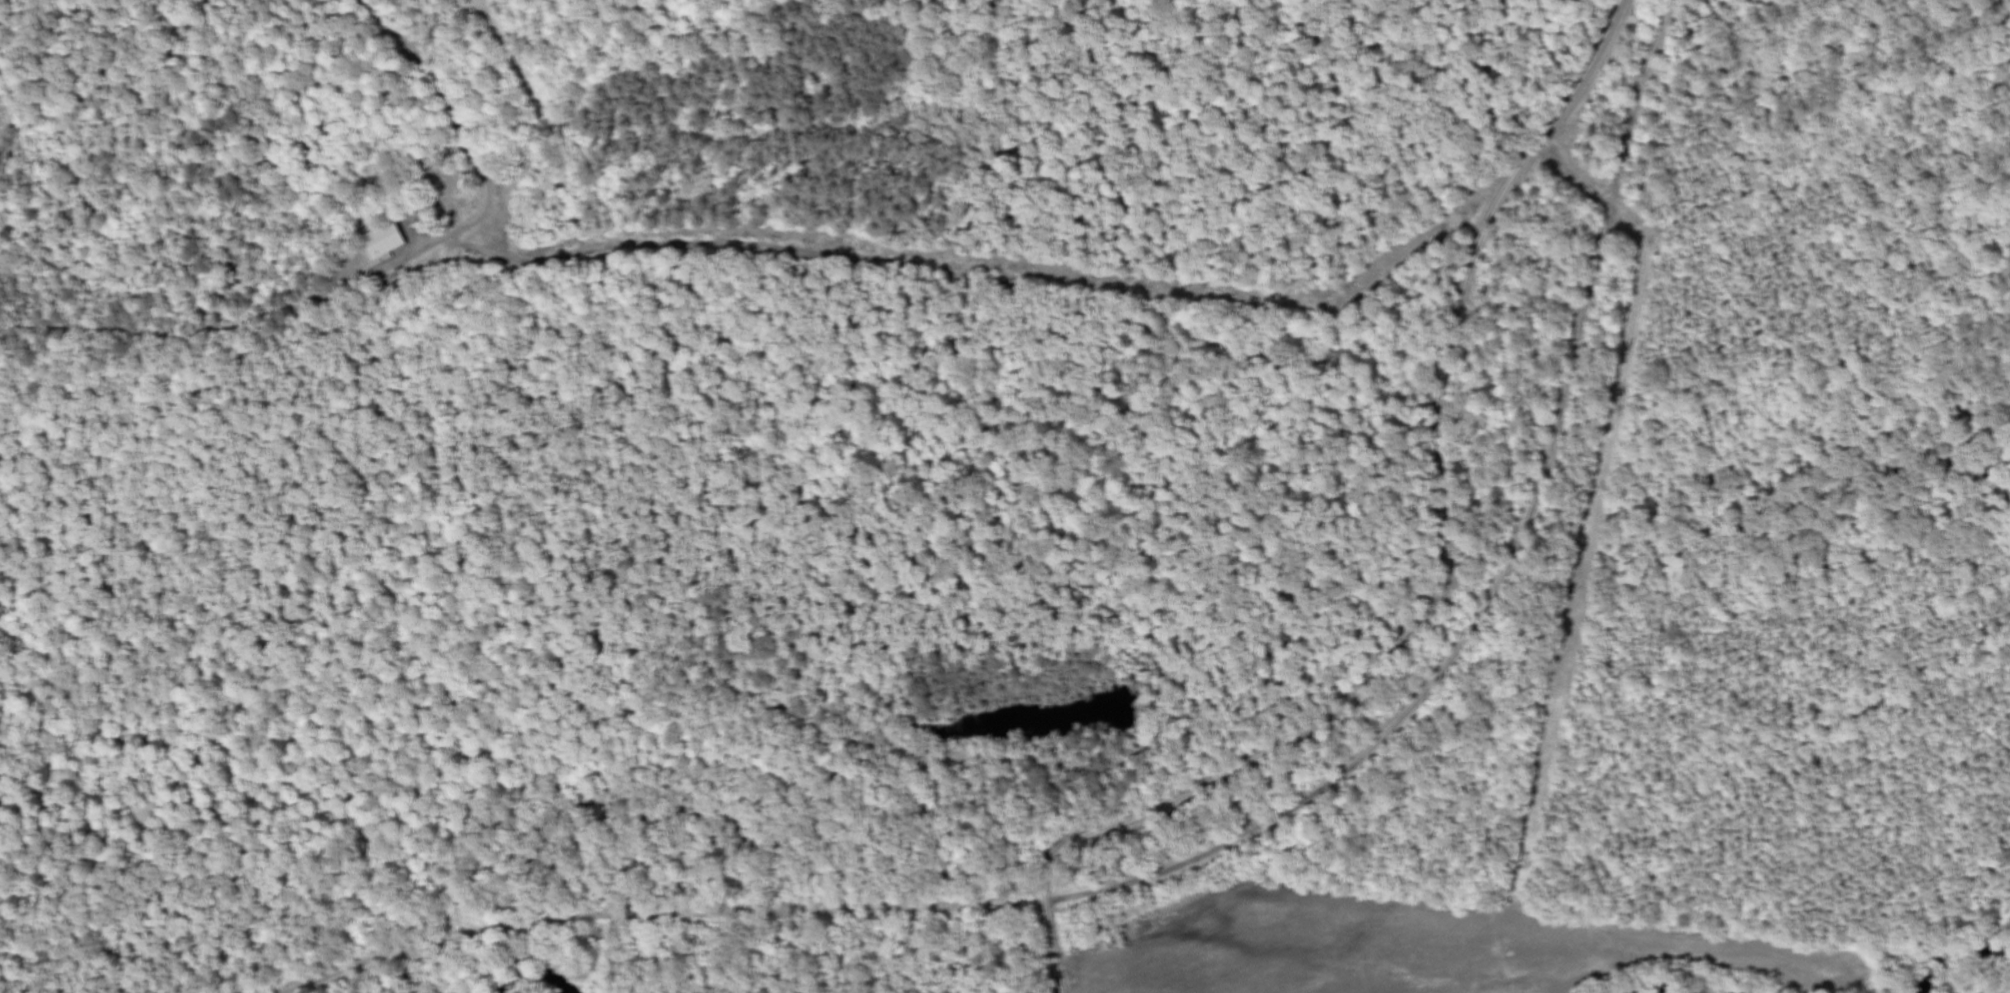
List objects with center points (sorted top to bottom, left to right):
building: (385, 245)
road: (716, 267)
road: (1445, 577)

